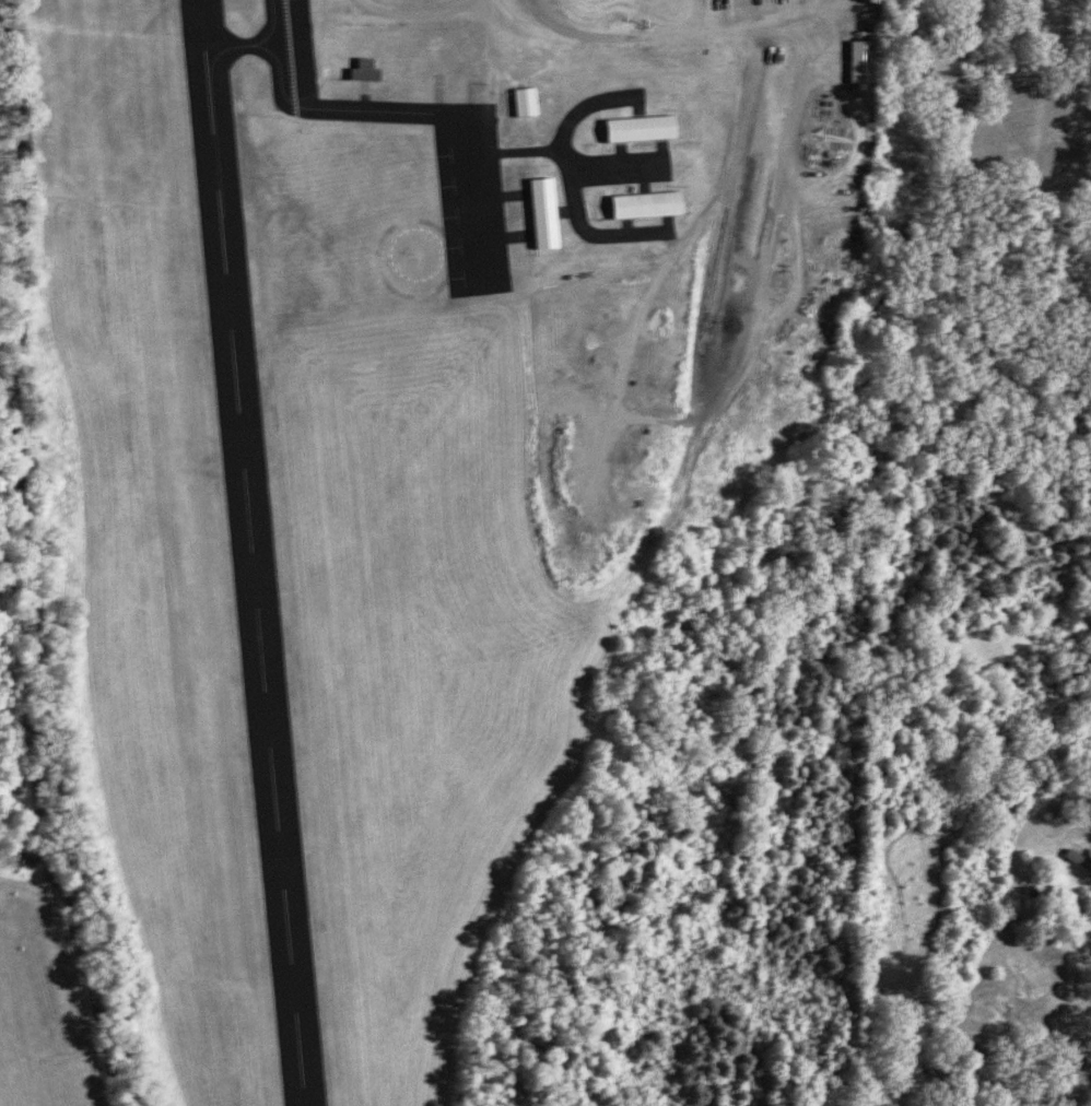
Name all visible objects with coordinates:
road: (509, 7)
airport taxiway: (239, 46)
building: (864, 59)
building: (361, 68)
building: (521, 99)
airport taxiway: (310, 105)
building: (635, 125)
airport apron: (471, 199)
building: (642, 201)
building: (538, 211)
airport runway: (249, 552)
building: (1025, 975)
road: (1076, 976)
road: (1021, 1058)

